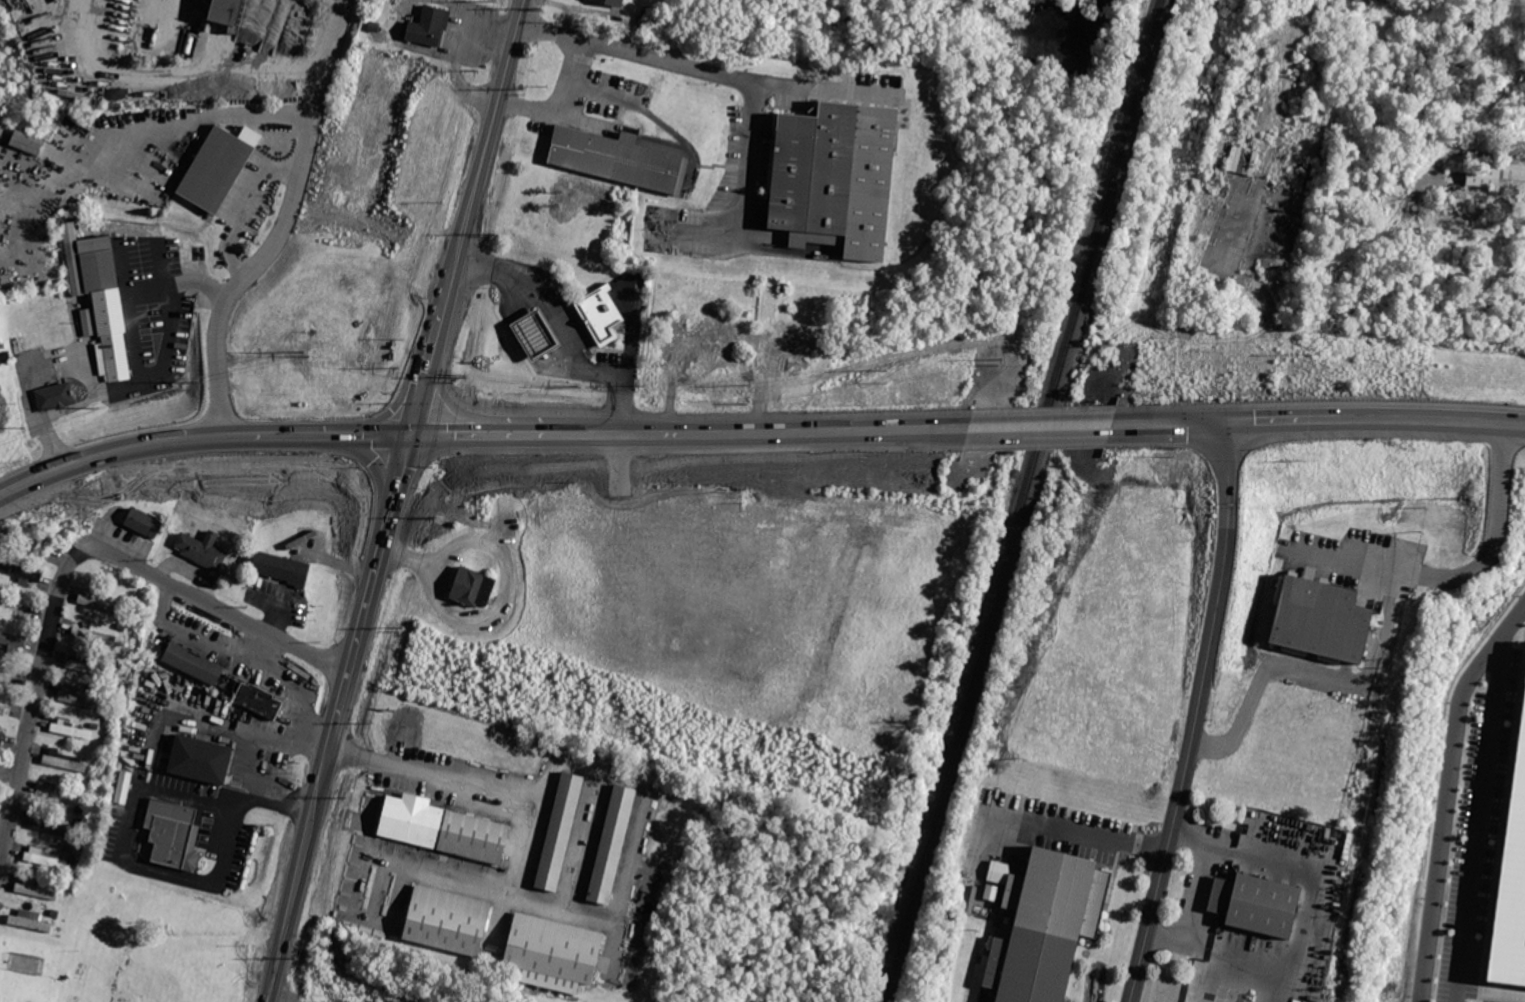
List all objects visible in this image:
building: (304, 1)
building: (610, 2)
building: (228, 16)
building: (430, 27)
road: (747, 77)
building: (115, 93)
road: (564, 101)
road: (182, 125)
building: (26, 141)
road: (485, 154)
building: (617, 160)
building: (217, 172)
building: (833, 176)
building: (1497, 176)
road: (246, 209)
road: (280, 225)
building: (69, 235)
road: (162, 265)
road: (123, 268)
road: (495, 272)
road: (177, 285)
building: (104, 307)
building: (598, 311)
building: (88, 321)
building: (533, 331)
gas station: (533, 331)
building: (0, 340)
road: (437, 341)
road: (565, 343)
road: (627, 364)
road: (61, 366)
road: (151, 376)
building: (55, 397)
road: (421, 404)
road: (459, 406)
road: (393, 407)
road: (1285, 418)
road: (1421, 418)
traffic signals: (1231, 422)
road: (1172, 423)
road: (1513, 423)
road: (1041, 427)
road: (46, 428)
road: (383, 436)
traffic signals: (413, 436)
road: (453, 436)
road: (301, 437)
road: (518, 437)
road: (756, 438)
road: (120, 452)
road: (380, 463)
road: (405, 466)
railway: (1024, 500)
building: (146, 524)
building: (203, 548)
building: (281, 568)
building: (21, 569)
road: (1466, 572)
building: (475, 589)
building: (101, 601)
road: (219, 609)
building: (1321, 619)
road: (364, 624)
building: (95, 634)
building: (12, 639)
road: (203, 641)
building: (194, 664)
building: (87, 666)
road: (1311, 669)
building: (10, 672)
road: (35, 698)
building: (80, 698)
building: (259, 699)
building: (7, 705)
road: (300, 710)
road: (1197, 714)
building: (67, 728)
building: (4, 736)
road: (250, 756)
building: (199, 758)
building: (66, 763)
road: (431, 774)
road: (9, 776)
road: (323, 784)
road: (1449, 795)
road: (1479, 820)
road: (130, 821)
road: (1054, 824)
building: (55, 828)
building: (560, 830)
building: (444, 831)
building: (173, 832)
building: (610, 849)
building: (46, 859)
road: (1298, 864)
building: (1512, 877)
building: (37, 889)
road: (1195, 892)
building: (1253, 902)
road: (292, 909)
building: (446, 919)
building: (32, 924)
building: (1044, 929)
road: (1185, 946)
building: (550, 956)
road: (1231, 959)
road: (1279, 987)
road: (287, 998)

